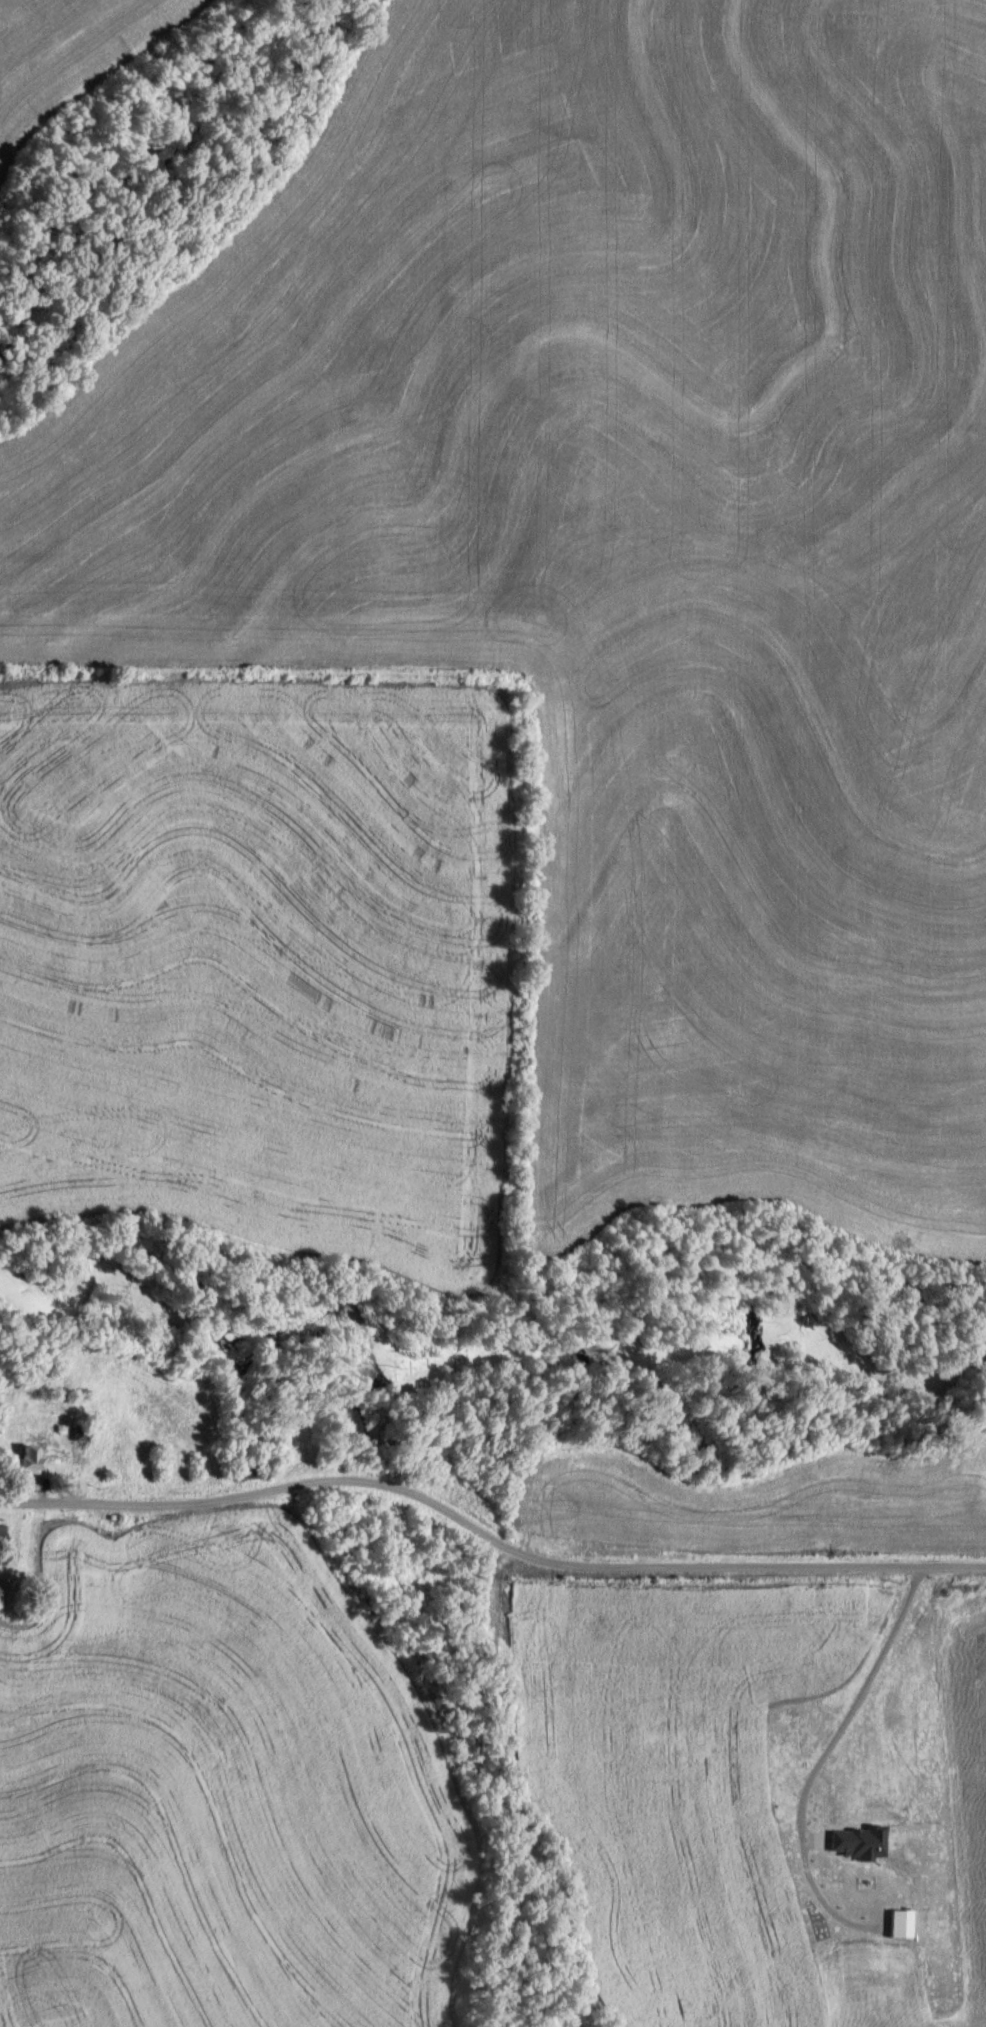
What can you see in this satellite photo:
building: (77, 1430)
building: (27, 1456)
building: (248, 1470)
road: (487, 1535)
building: (1, 1538)
building: (795, 1747)

